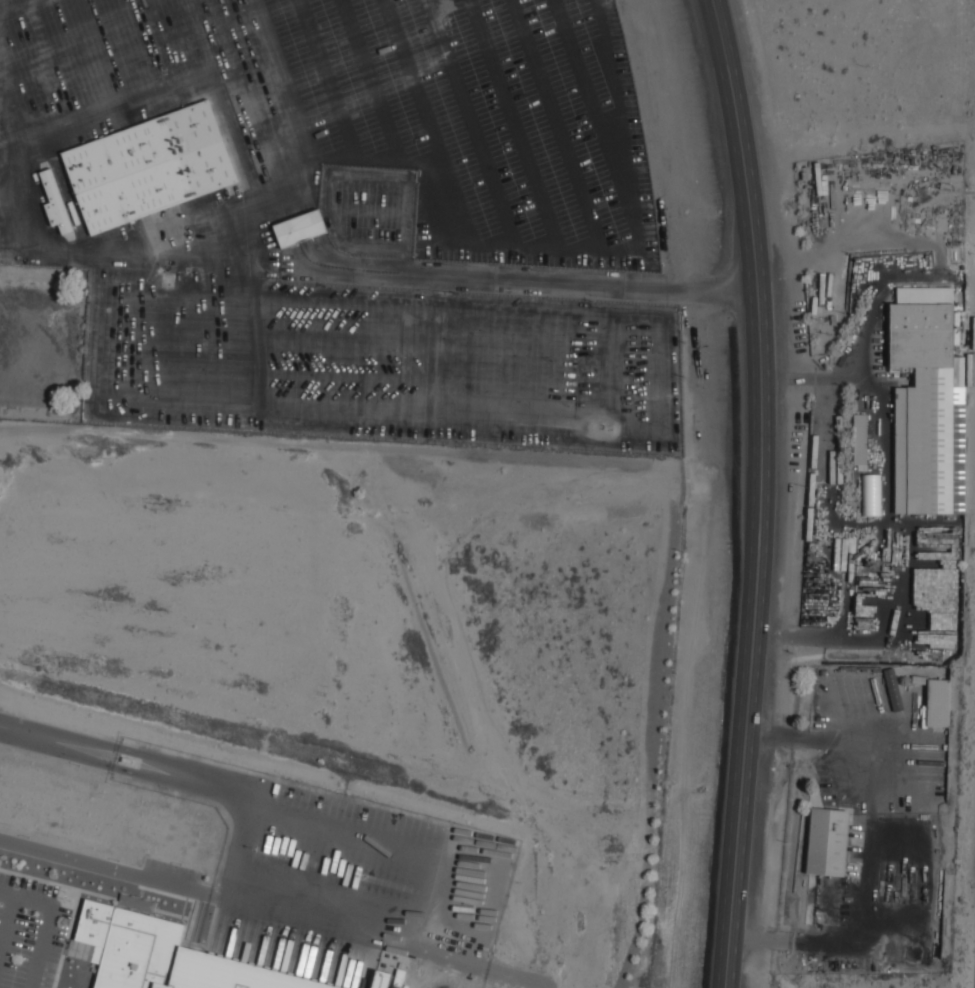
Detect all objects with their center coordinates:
building: (152, 167)
building: (58, 203)
building: (303, 228)
road: (585, 284)
building: (927, 402)
road: (760, 492)
road: (895, 520)
building: (938, 702)
road: (26, 733)
road: (180, 777)
road: (244, 818)
building: (830, 842)
road: (868, 849)
road: (105, 867)
road: (46, 922)
road: (376, 939)
building: (162, 955)

